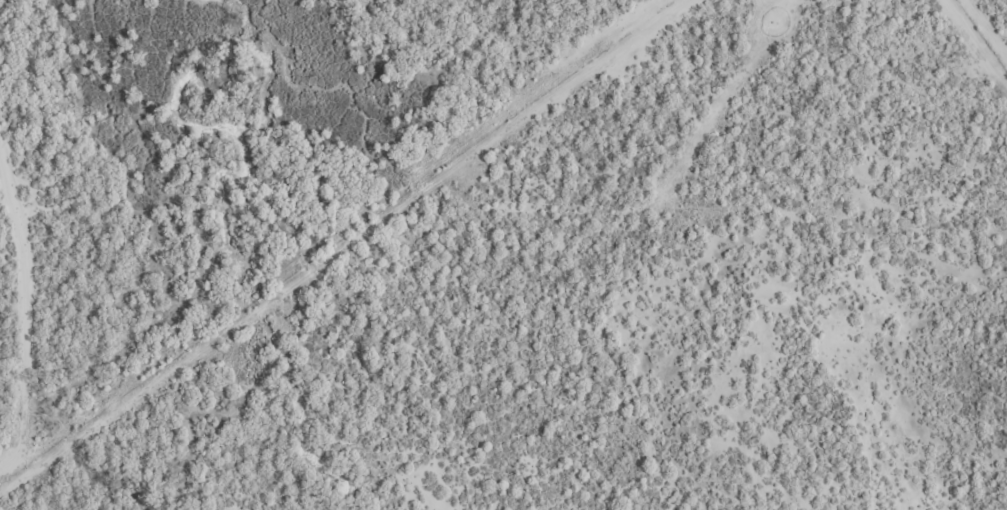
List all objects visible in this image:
road: (941, 96)
road: (321, 238)

